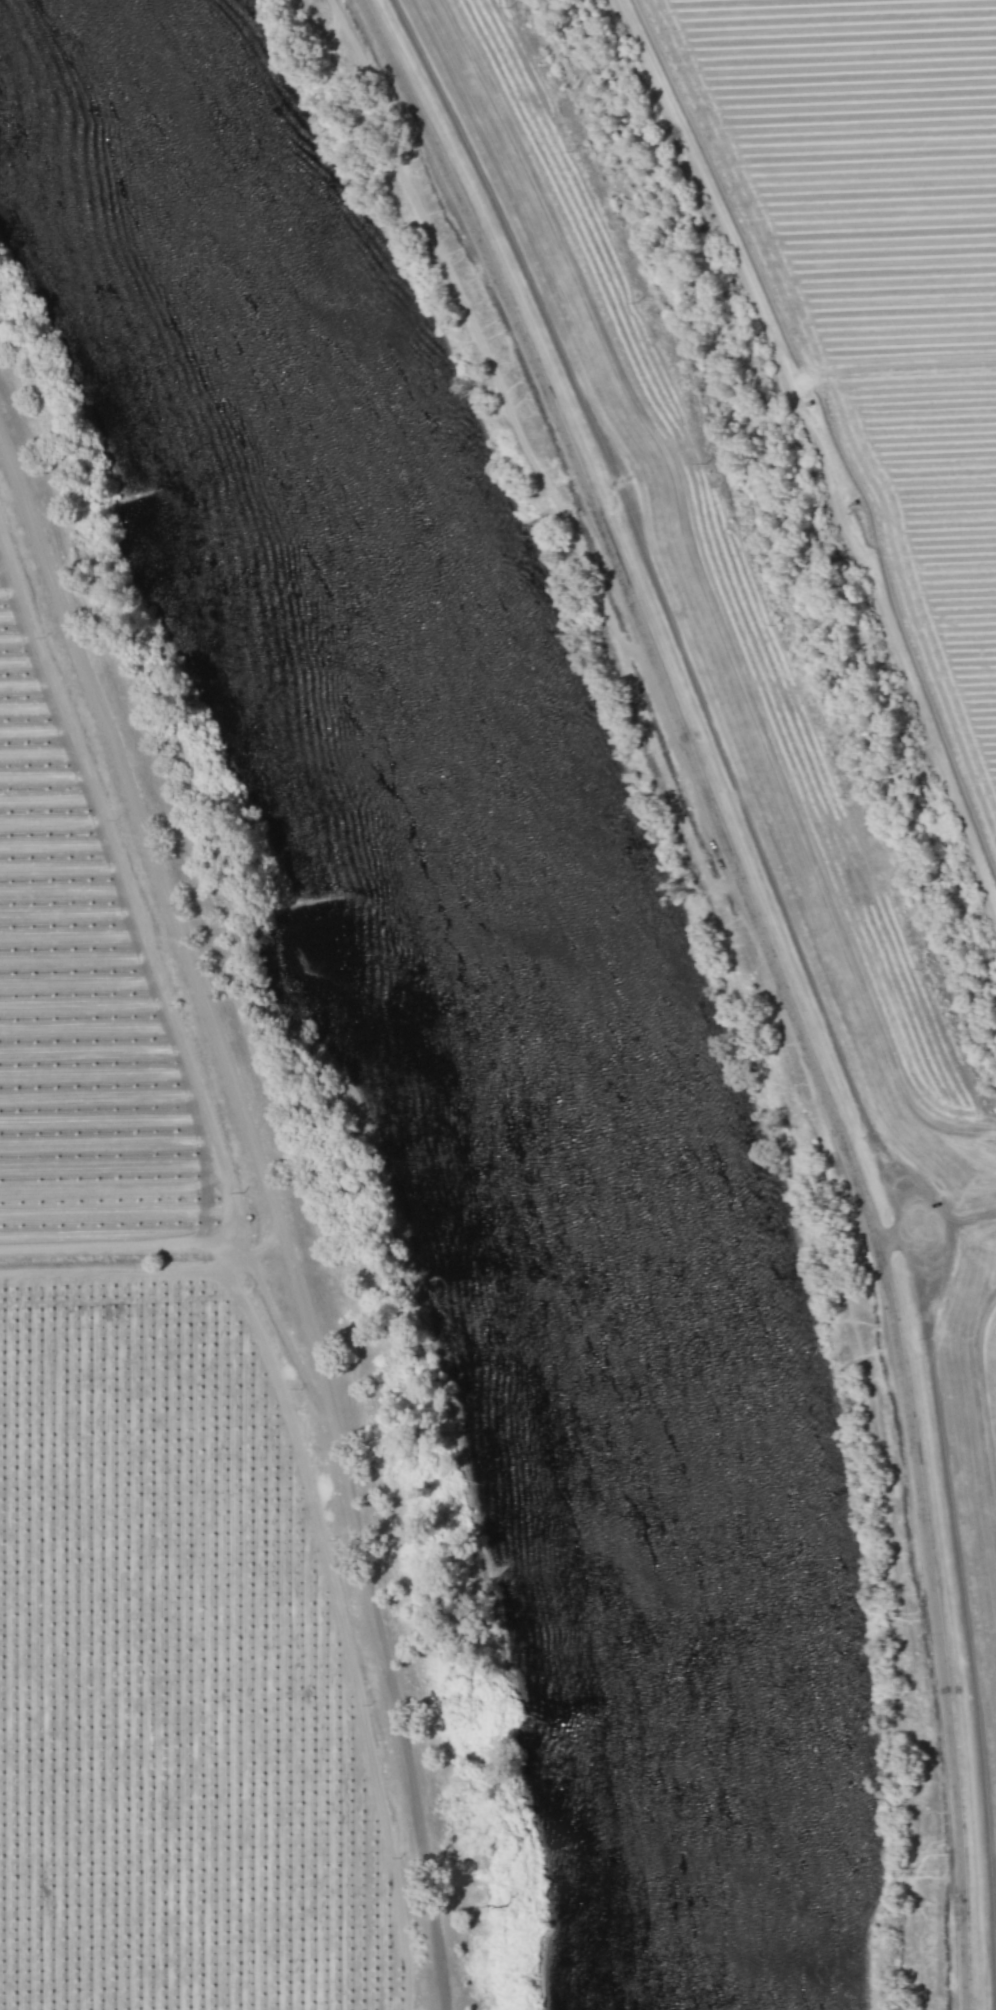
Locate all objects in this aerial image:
road: (774, 973)
river: (508, 979)
road: (278, 1212)
crop: (179, 1428)

